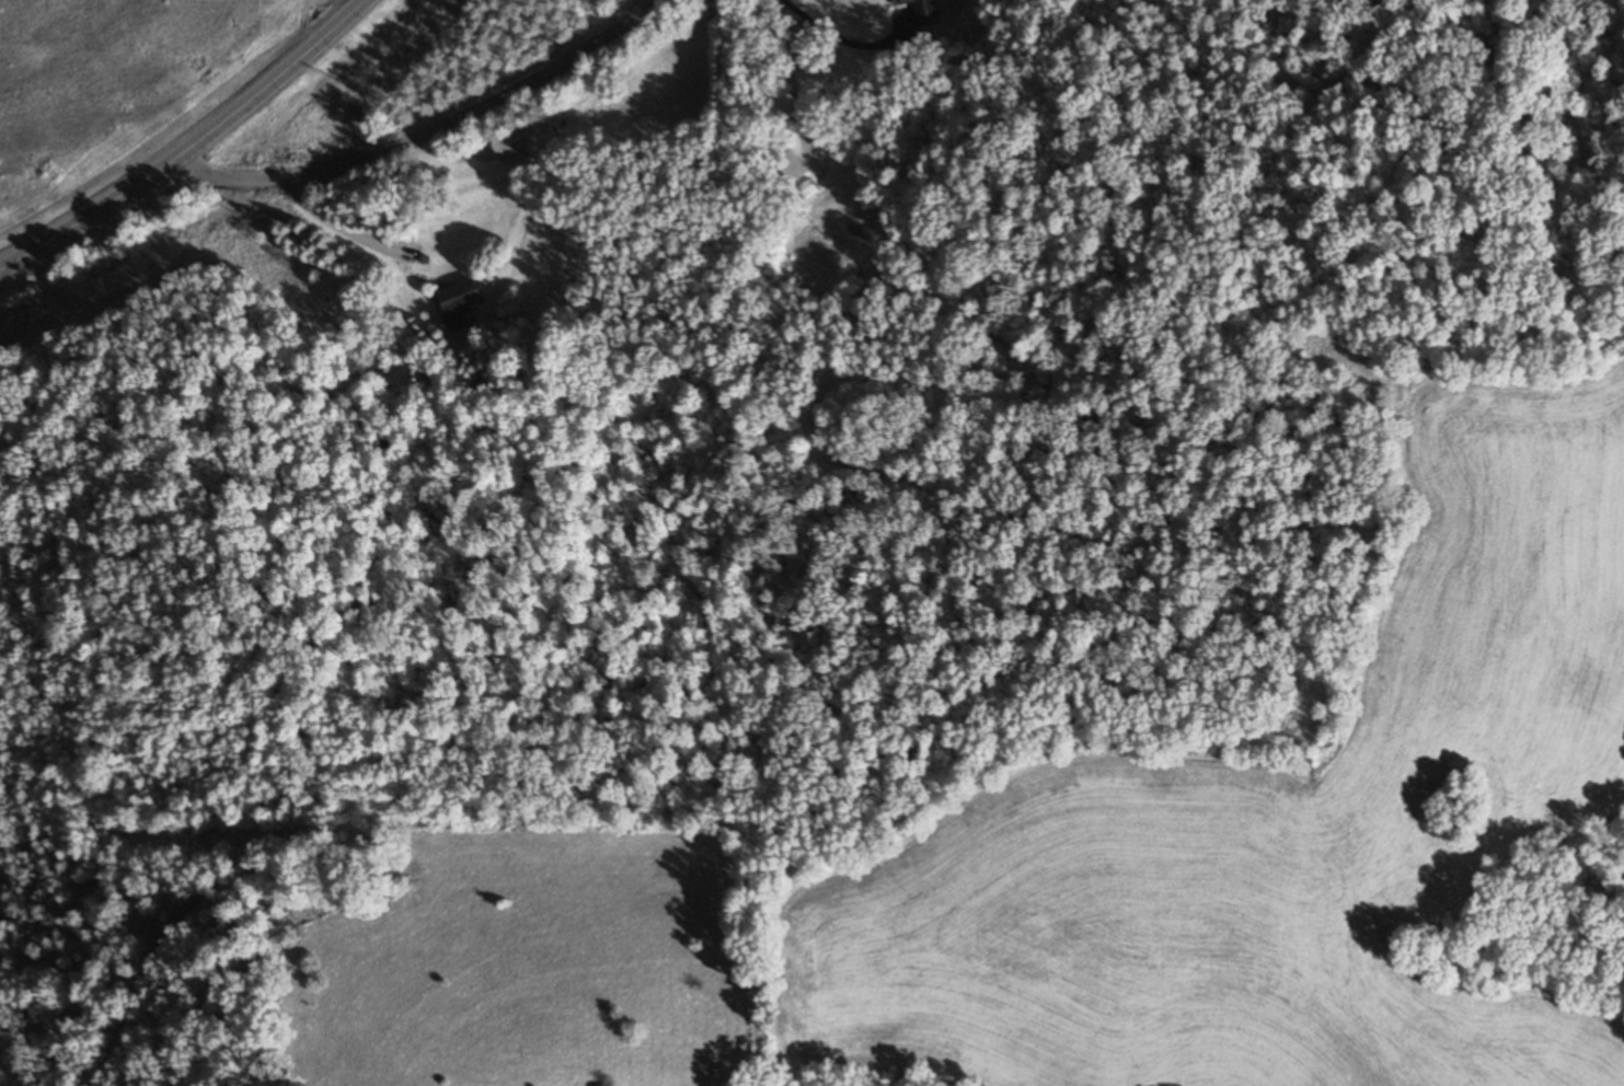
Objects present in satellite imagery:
building: (921, 9)
road: (425, 137)
building: (509, 147)
road: (193, 149)
building: (792, 165)
road: (342, 230)
building: (460, 297)

